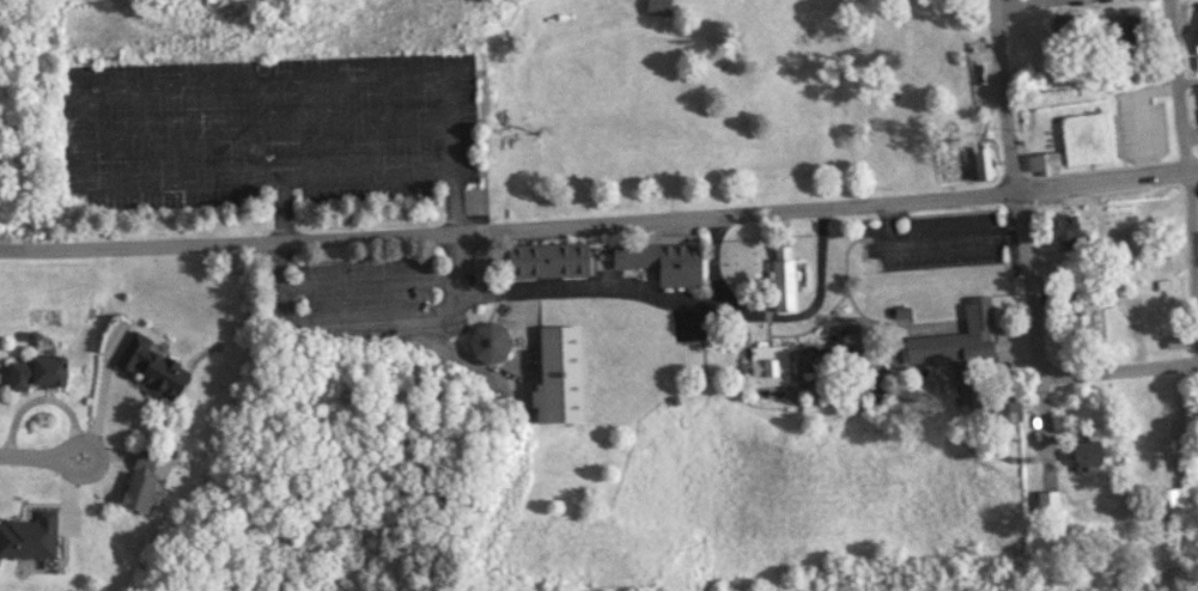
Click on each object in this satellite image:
road: (1012, 2)
building: (656, 7)
building: (1120, 29)
building: (978, 50)
road: (1003, 96)
road: (1186, 159)
building: (1041, 163)
building: (979, 164)
road: (366, 172)
road: (1108, 181)
road: (509, 229)
building: (1062, 231)
road: (716, 260)
building: (546, 261)
building: (658, 262)
building: (782, 284)
road: (1029, 285)
road: (562, 286)
road: (811, 305)
road: (347, 317)
building: (1077, 328)
building: (486, 343)
building: (960, 357)
building: (766, 365)
building: (146, 366)
road: (1118, 370)
building: (34, 372)
building: (555, 374)
building: (1004, 406)
road: (1042, 420)
building: (1082, 453)
building: (1180, 455)
road: (30, 456)
road: (97, 456)
building: (136, 485)
building: (1173, 496)
building: (1041, 501)
building: (26, 537)

